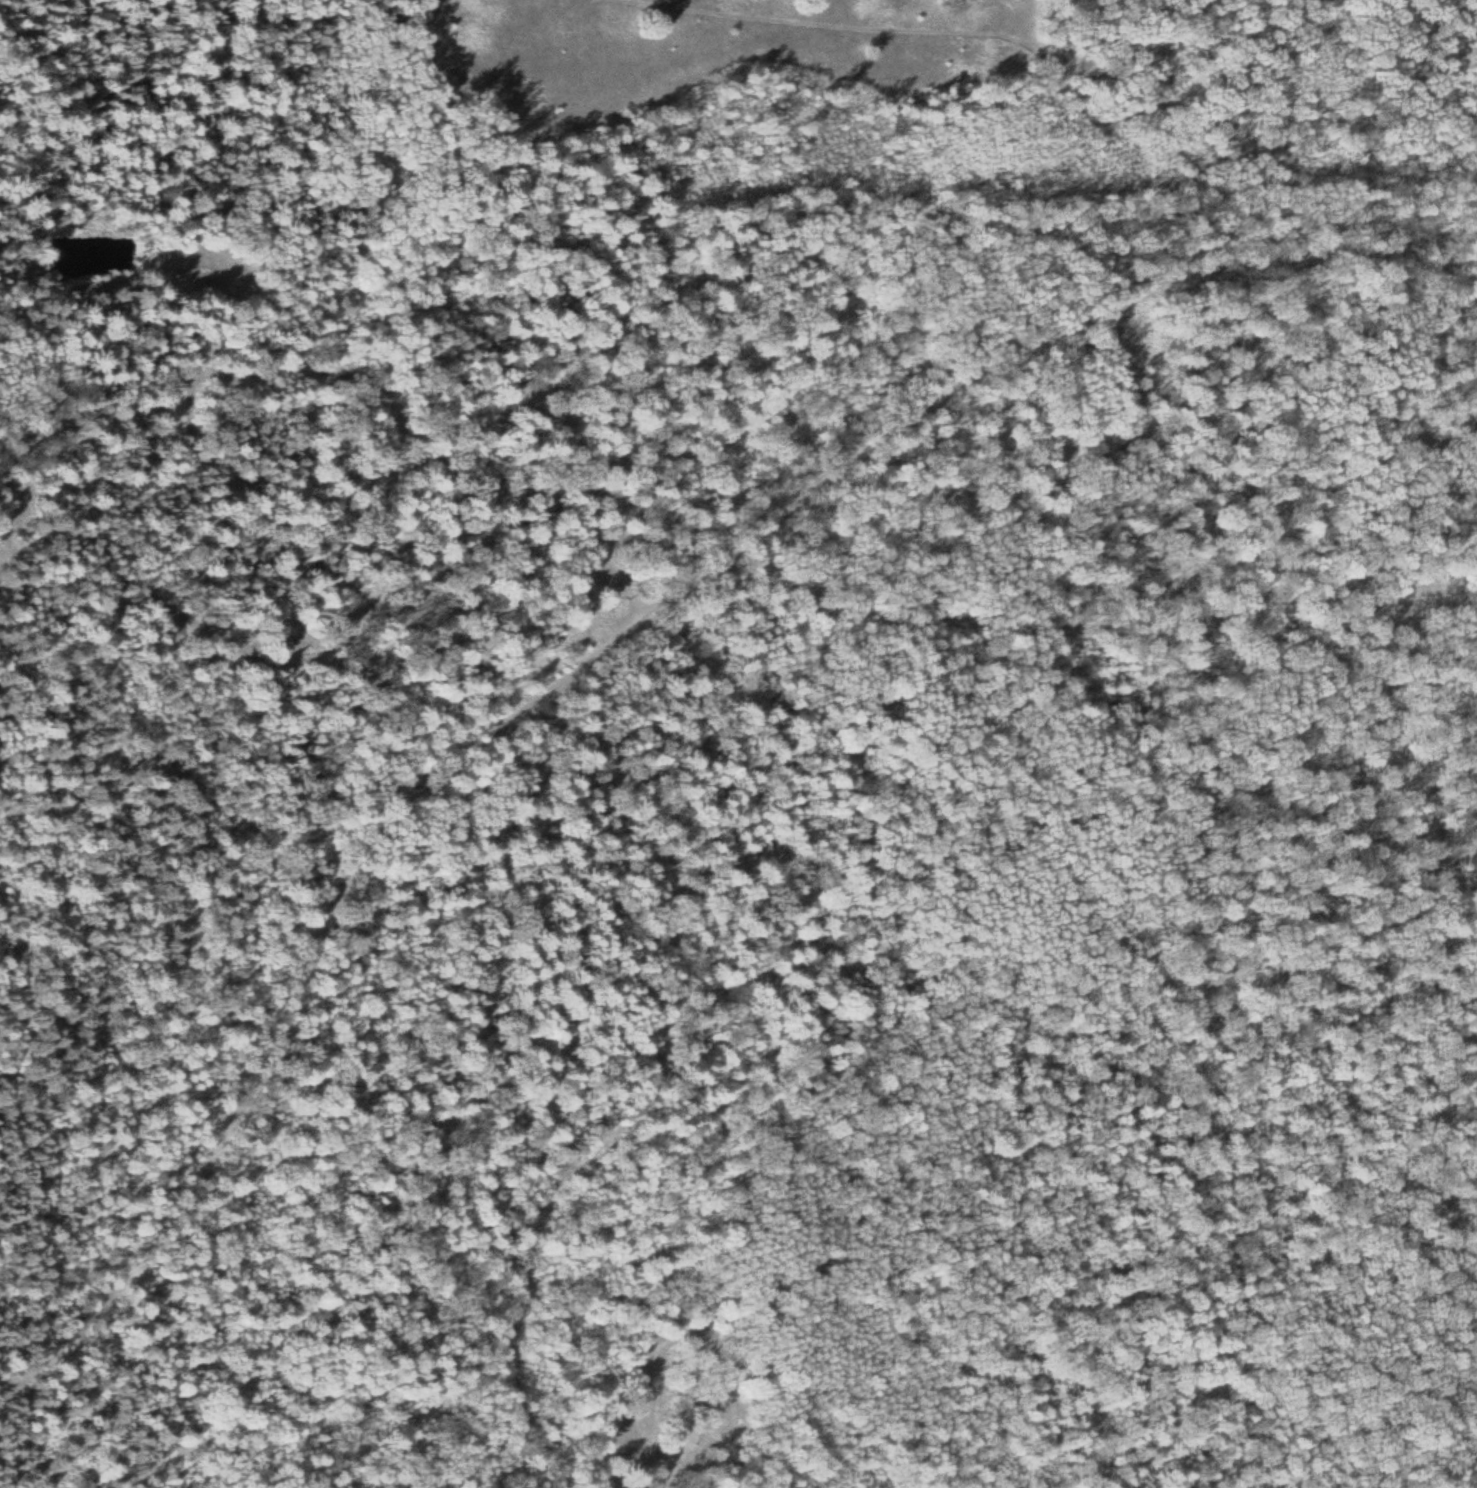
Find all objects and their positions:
road: (605, 643)
road: (255, 1370)
road: (197, 1433)

